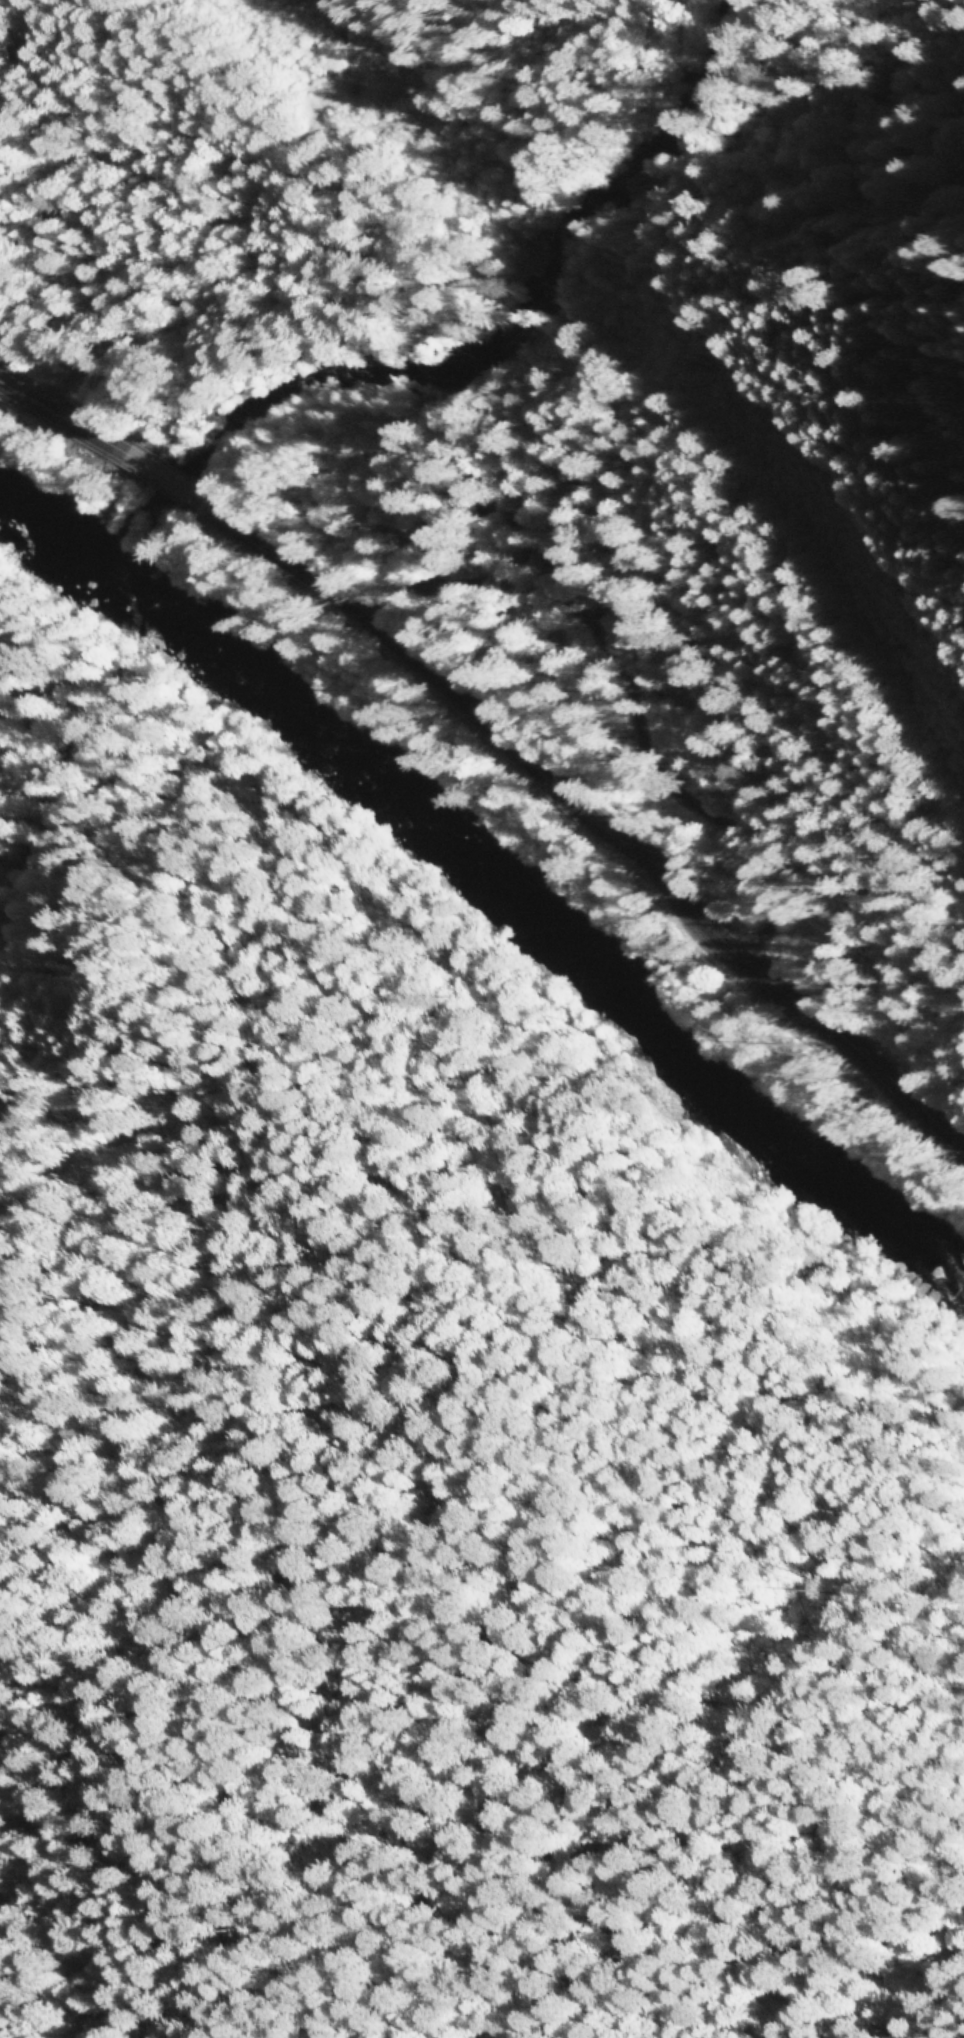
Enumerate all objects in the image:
river: (470, 344)
road: (545, 423)
road: (700, 635)
road: (502, 734)
parking lot: (822, 780)
river: (492, 873)
road: (475, 1048)

